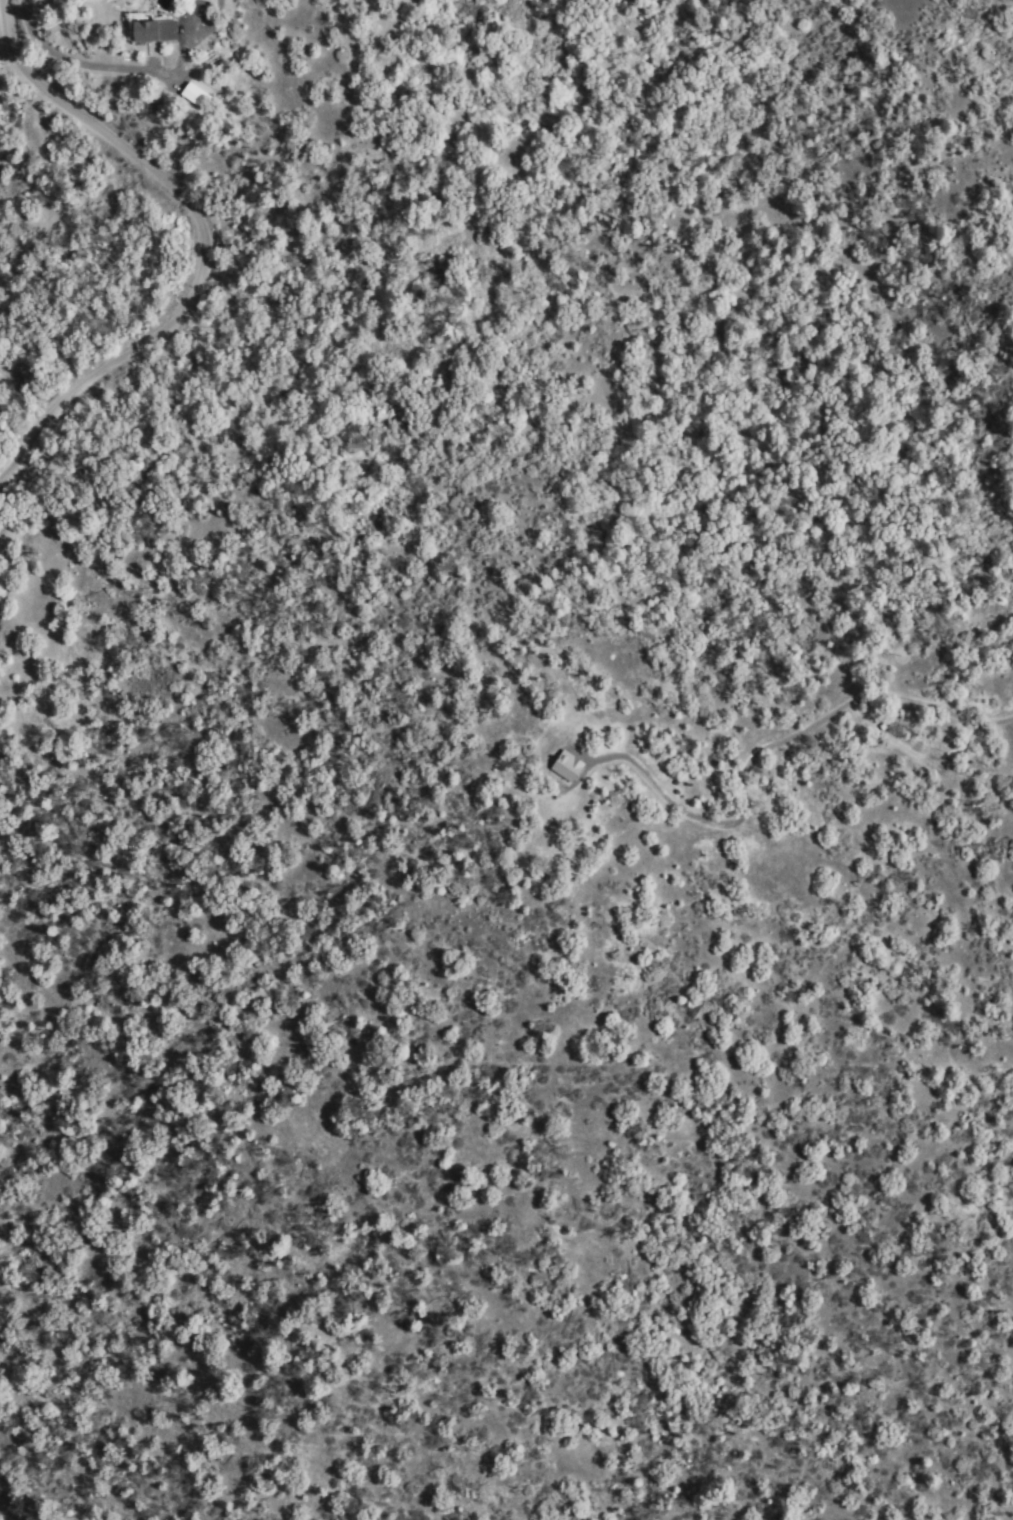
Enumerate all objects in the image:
building: (146, 28)
road: (6, 45)
road: (205, 245)
building: (560, 765)

